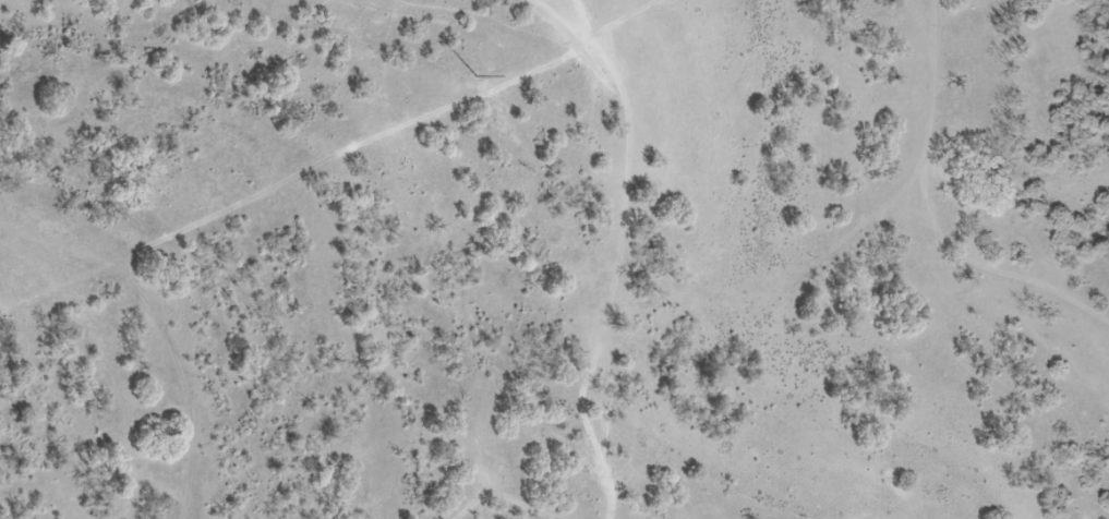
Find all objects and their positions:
power tower: (478, 76)

